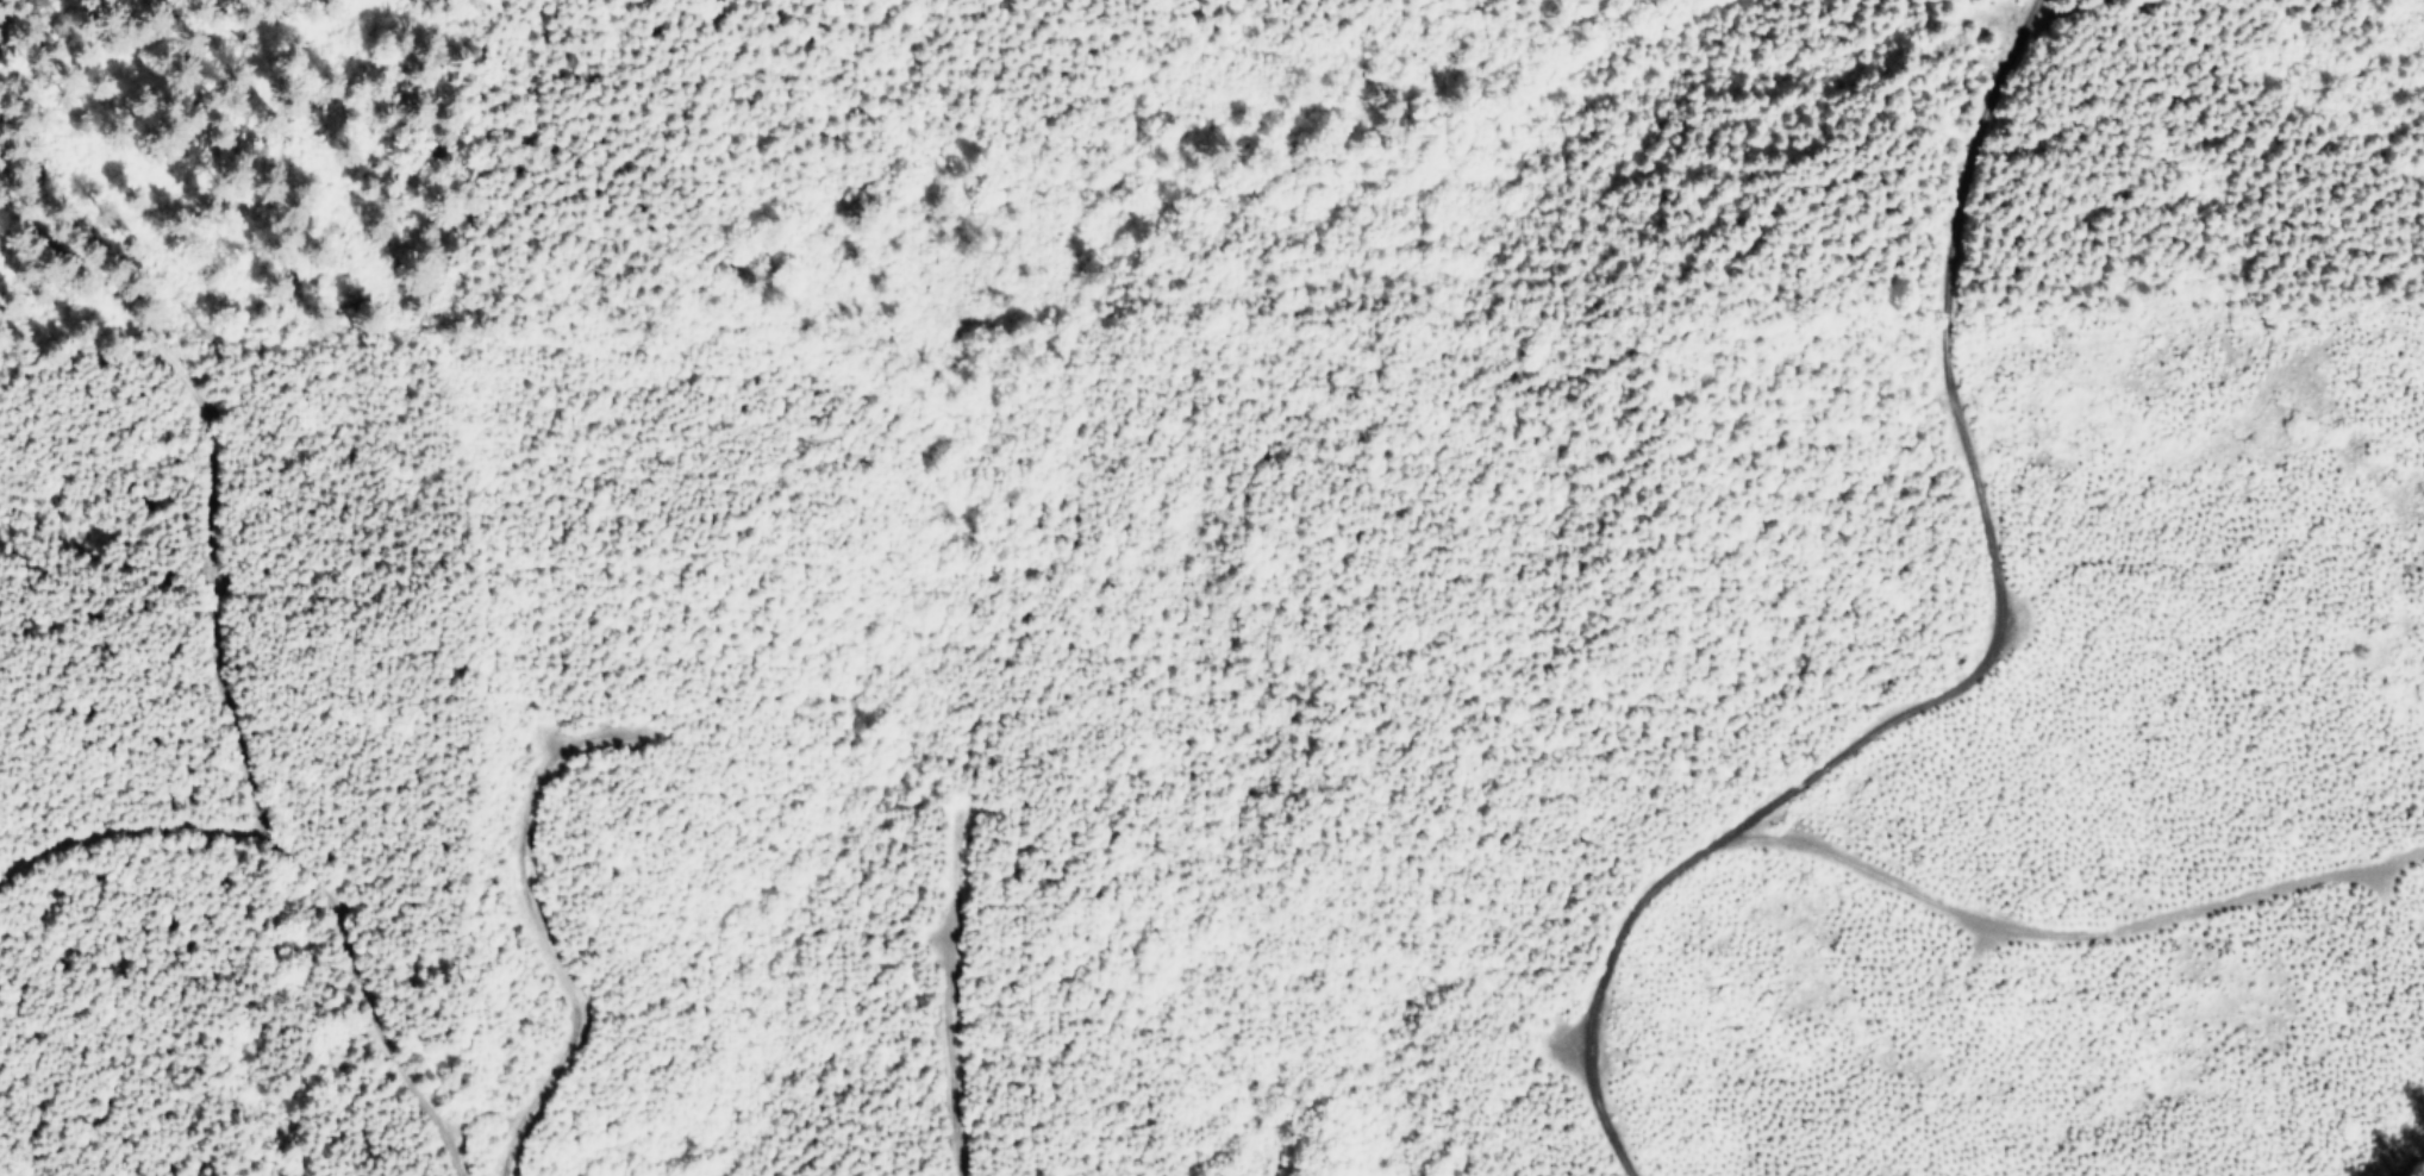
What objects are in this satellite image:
road: (1186, 58)
road: (1953, 653)
road: (150, 846)
road: (344, 886)

